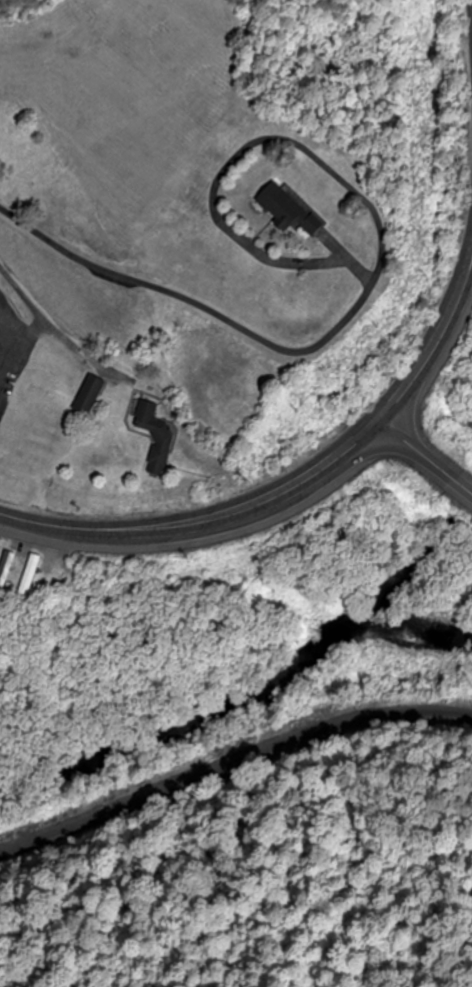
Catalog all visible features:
building: (282, 210)
road: (434, 348)
building: (85, 396)
building: (151, 438)
road: (426, 457)
river: (463, 502)
road: (202, 517)
river: (405, 561)
building: (5, 571)
building: (29, 574)
river: (250, 704)
railway: (230, 757)

